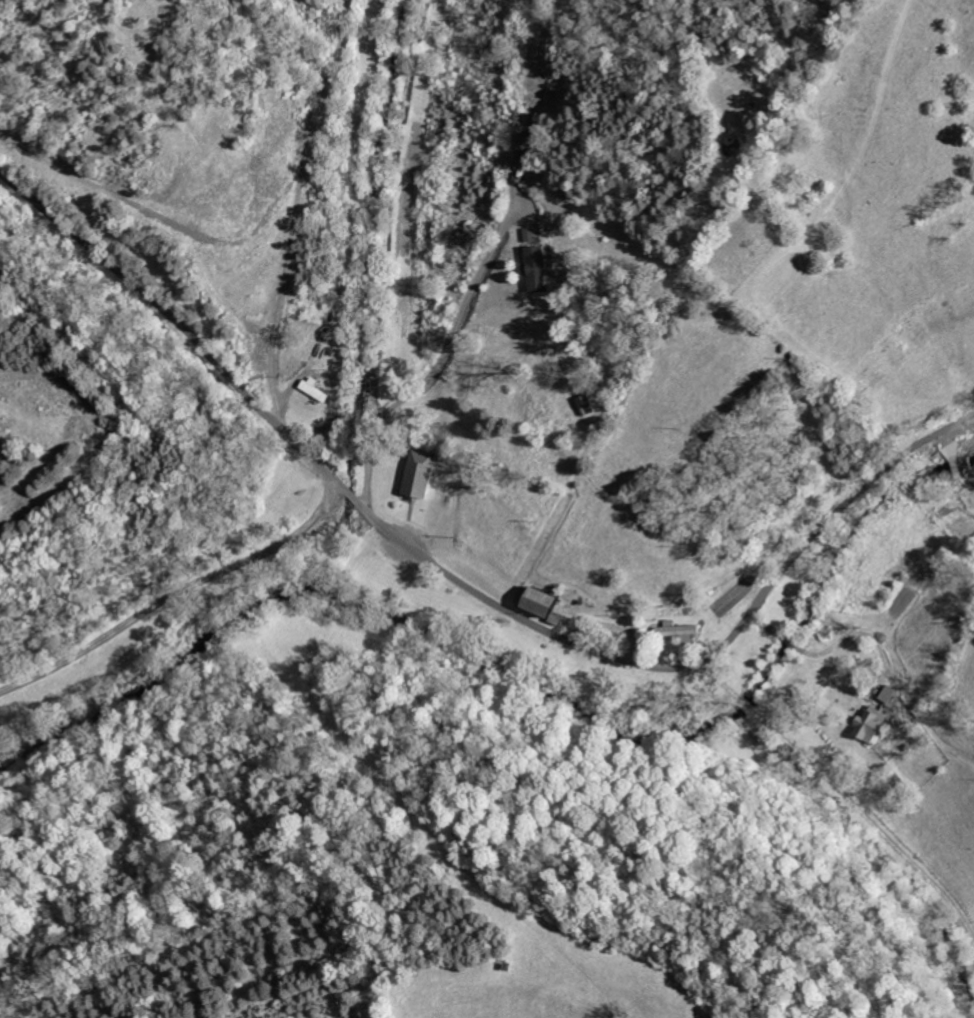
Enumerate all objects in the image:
building: (520, 119)
road: (238, 241)
building: (535, 268)
road: (279, 290)
road: (447, 350)
building: (309, 391)
road: (281, 404)
building: (417, 474)
road: (467, 588)
road: (181, 598)
building: (532, 601)
building: (550, 619)
building: (673, 631)
road: (840, 645)
building: (886, 692)
building: (867, 726)
road: (846, 793)

